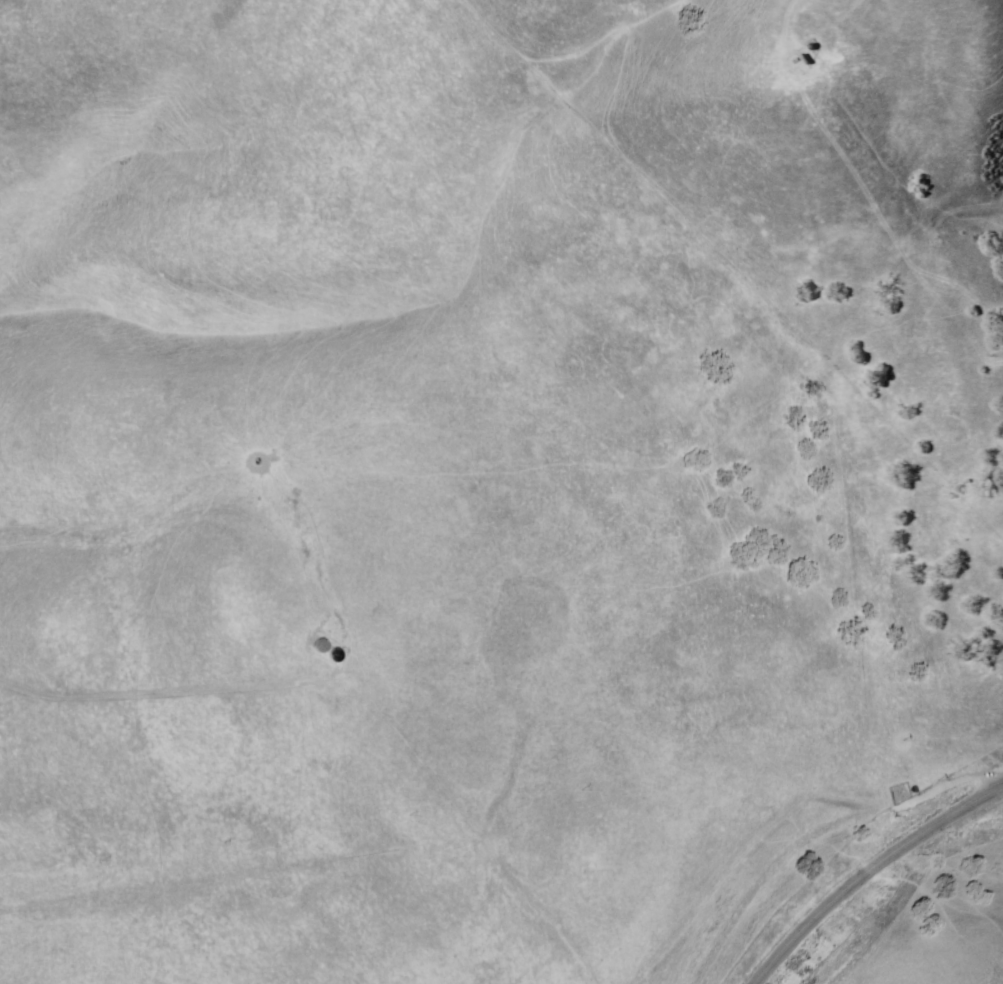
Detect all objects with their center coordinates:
building: (317, 647)
road: (153, 696)
road: (865, 869)

